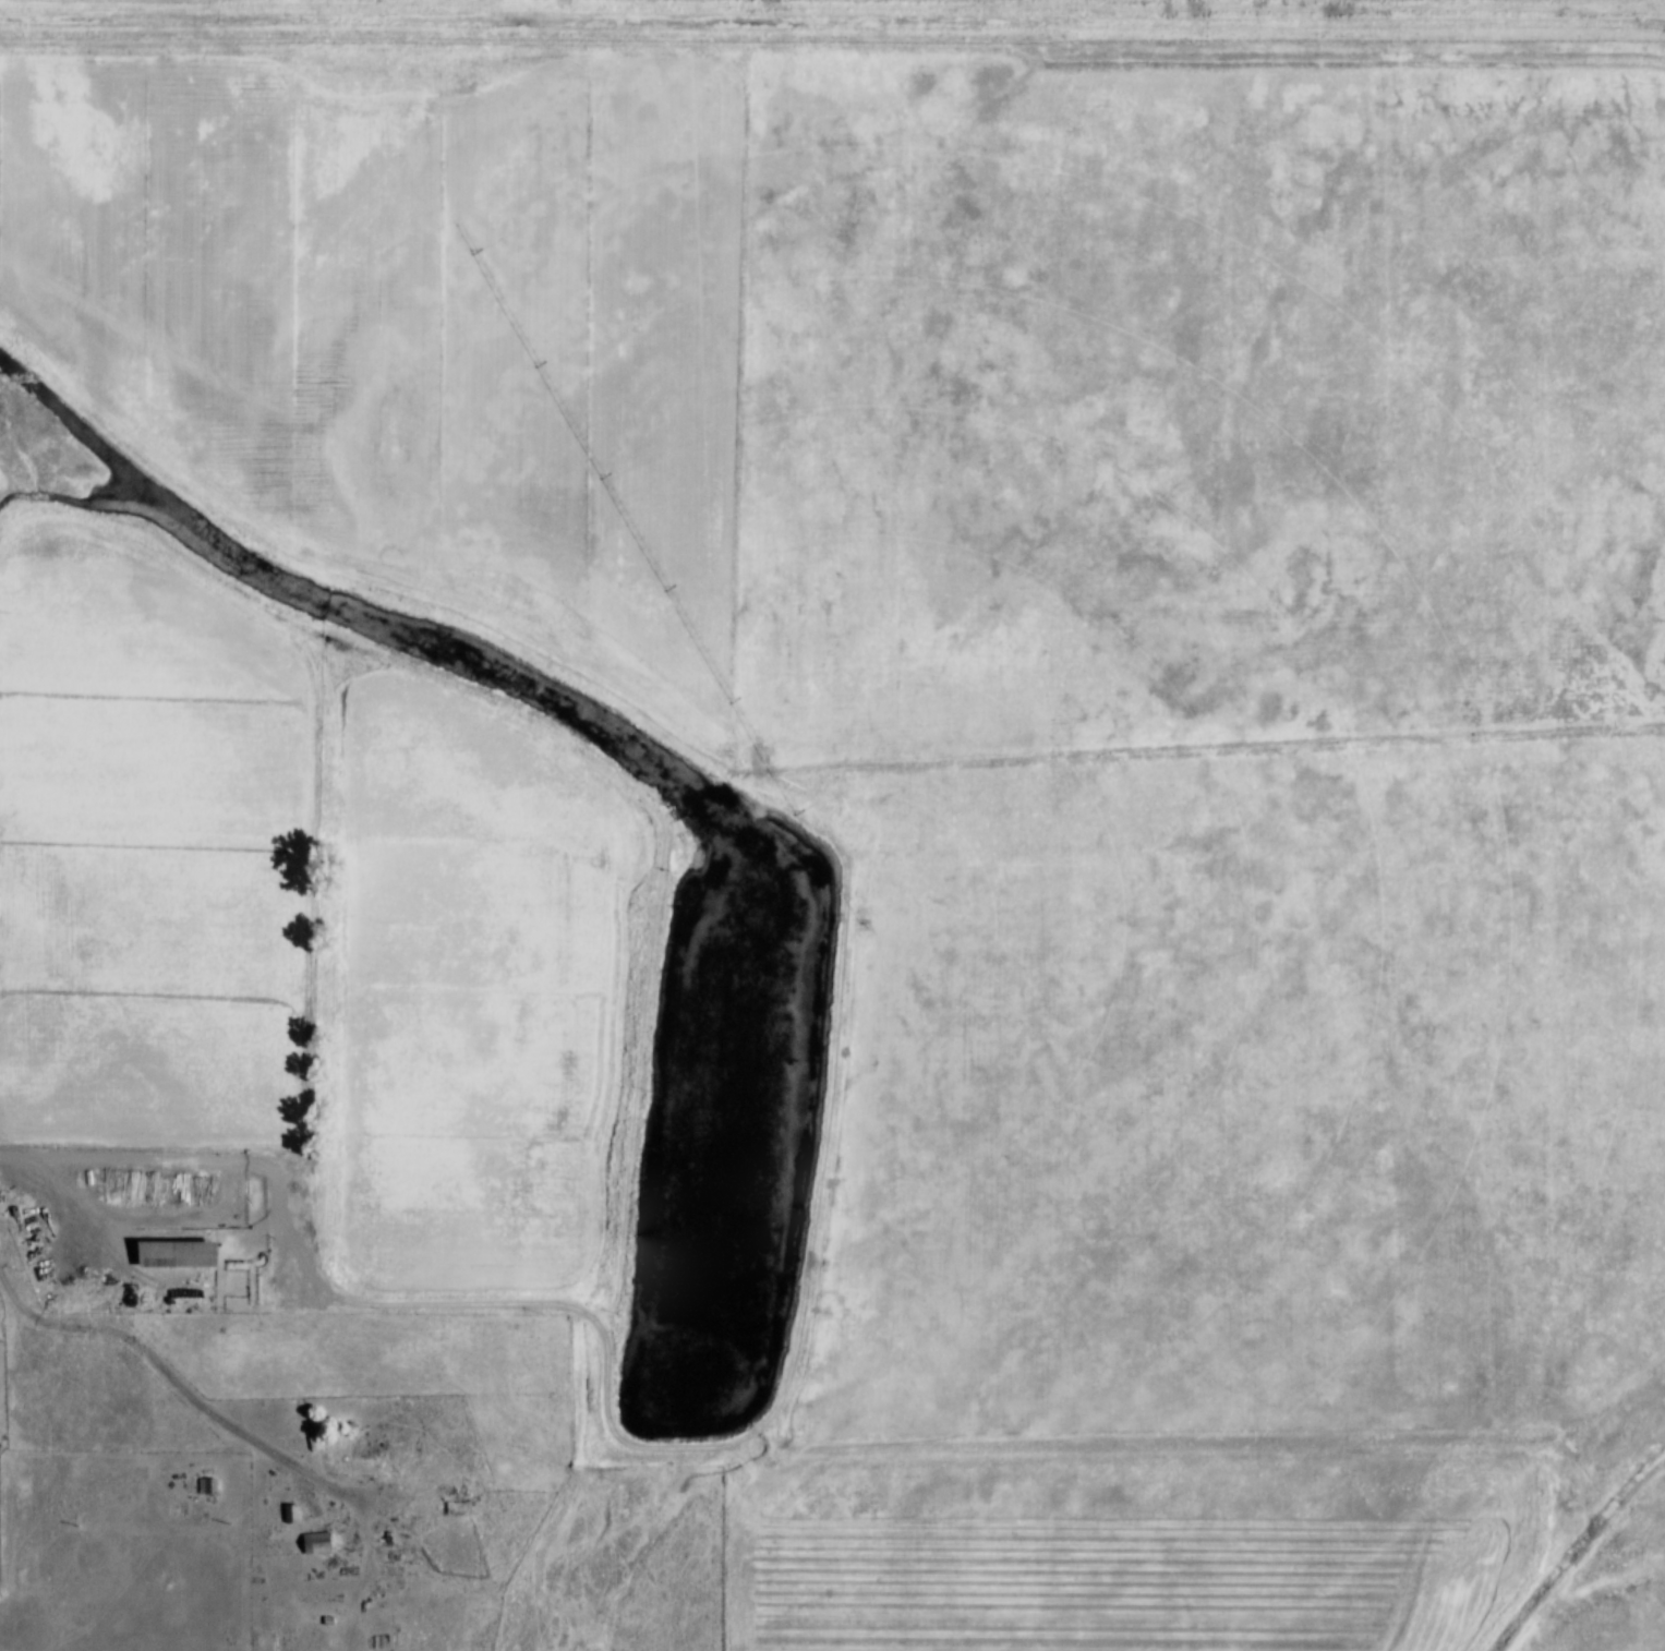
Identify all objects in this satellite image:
crop: (431, 323)
crop: (1202, 406)
crop: (160, 849)
crop: (488, 981)
crop: (1255, 1096)
road: (146, 1214)
building: (186, 1249)
road: (197, 1387)
building: (328, 1438)
road: (649, 1444)
building: (218, 1484)
building: (206, 1485)
building: (328, 1541)
building: (314, 1542)
crop: (1146, 1550)

